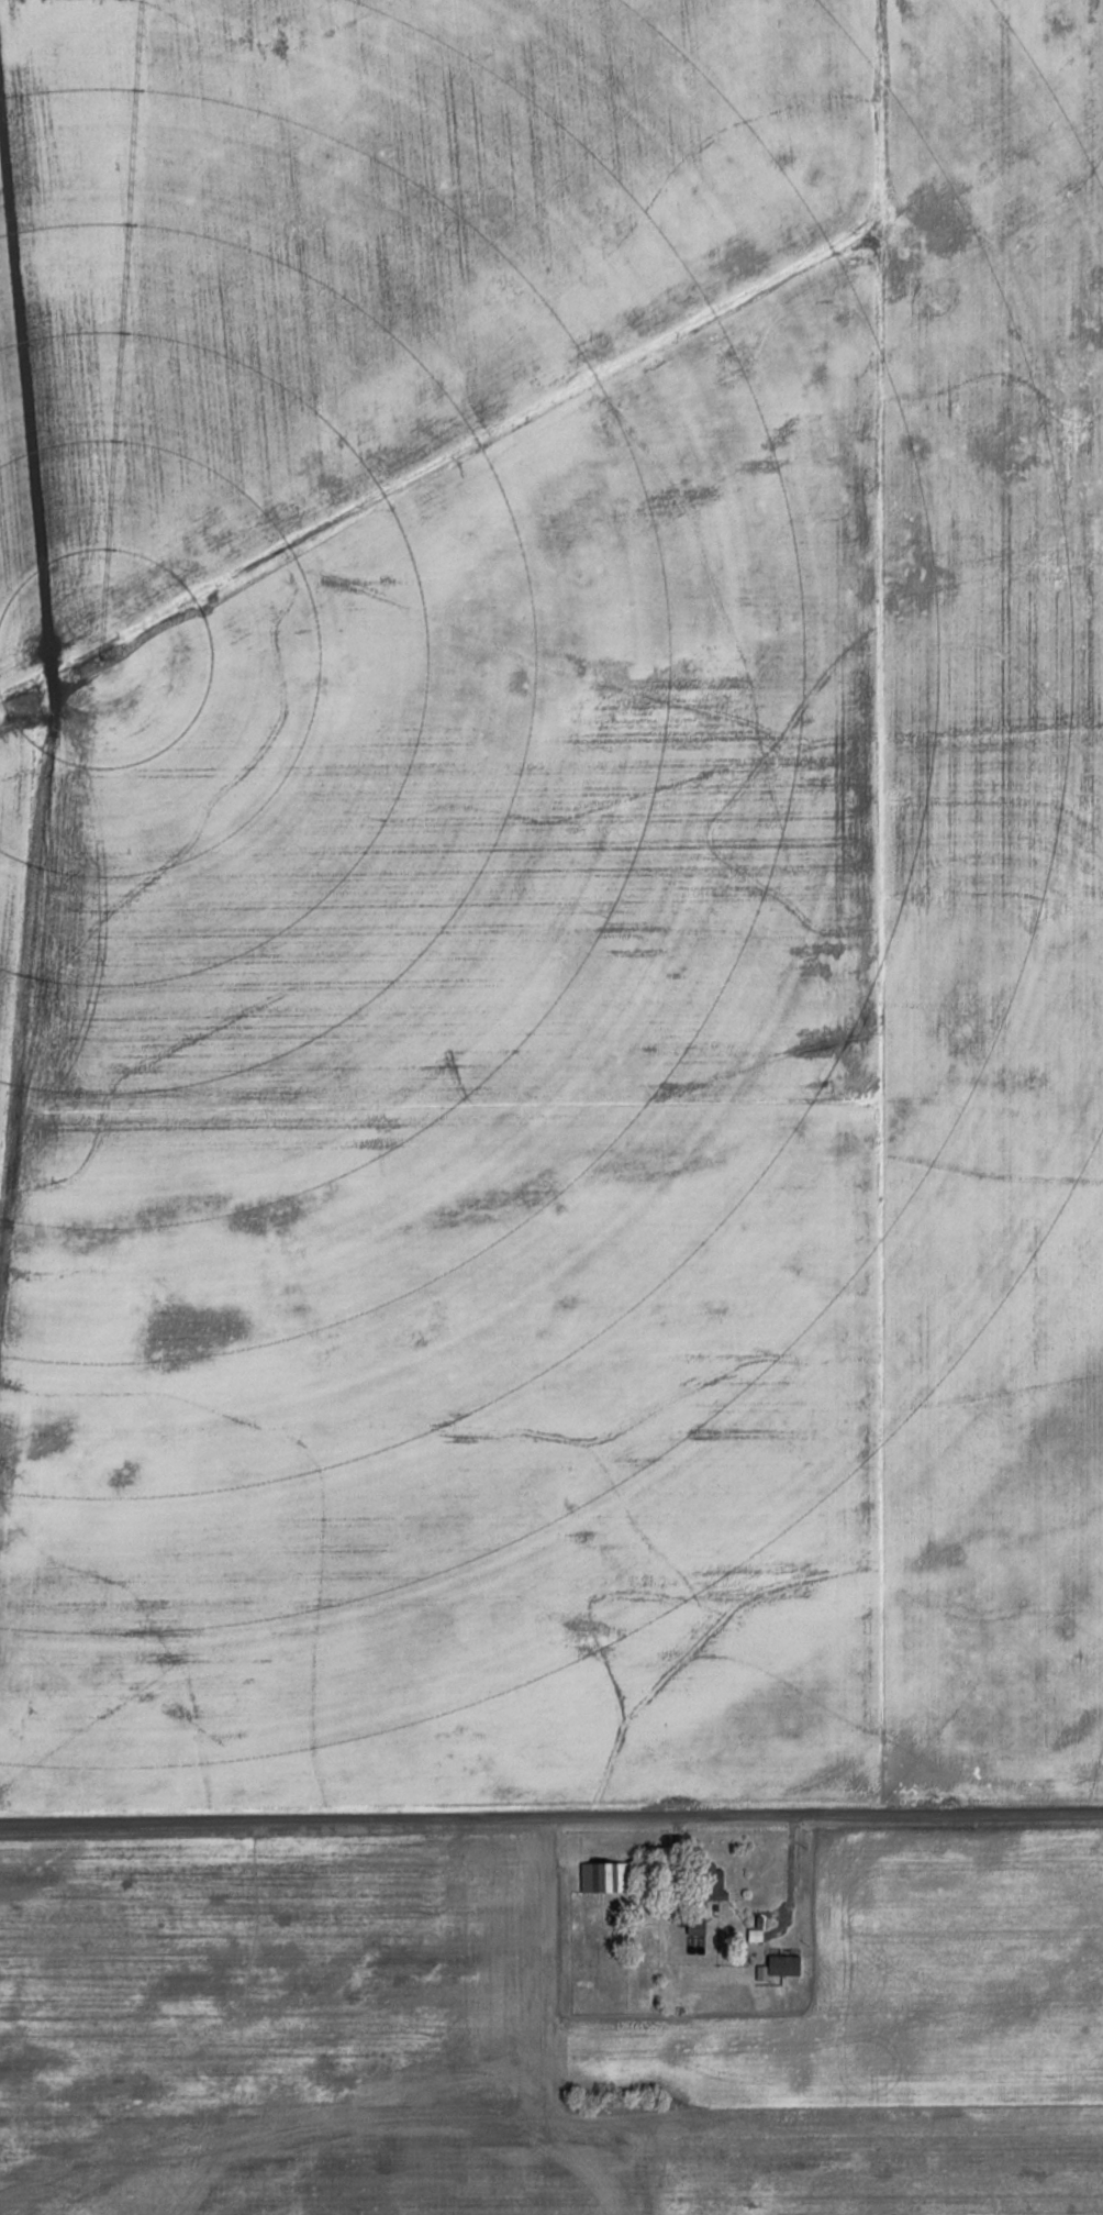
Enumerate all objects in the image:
road: (551, 1814)
building: (601, 1876)
building: (713, 1883)
building: (694, 1927)
building: (693, 1943)
building: (781, 1964)

